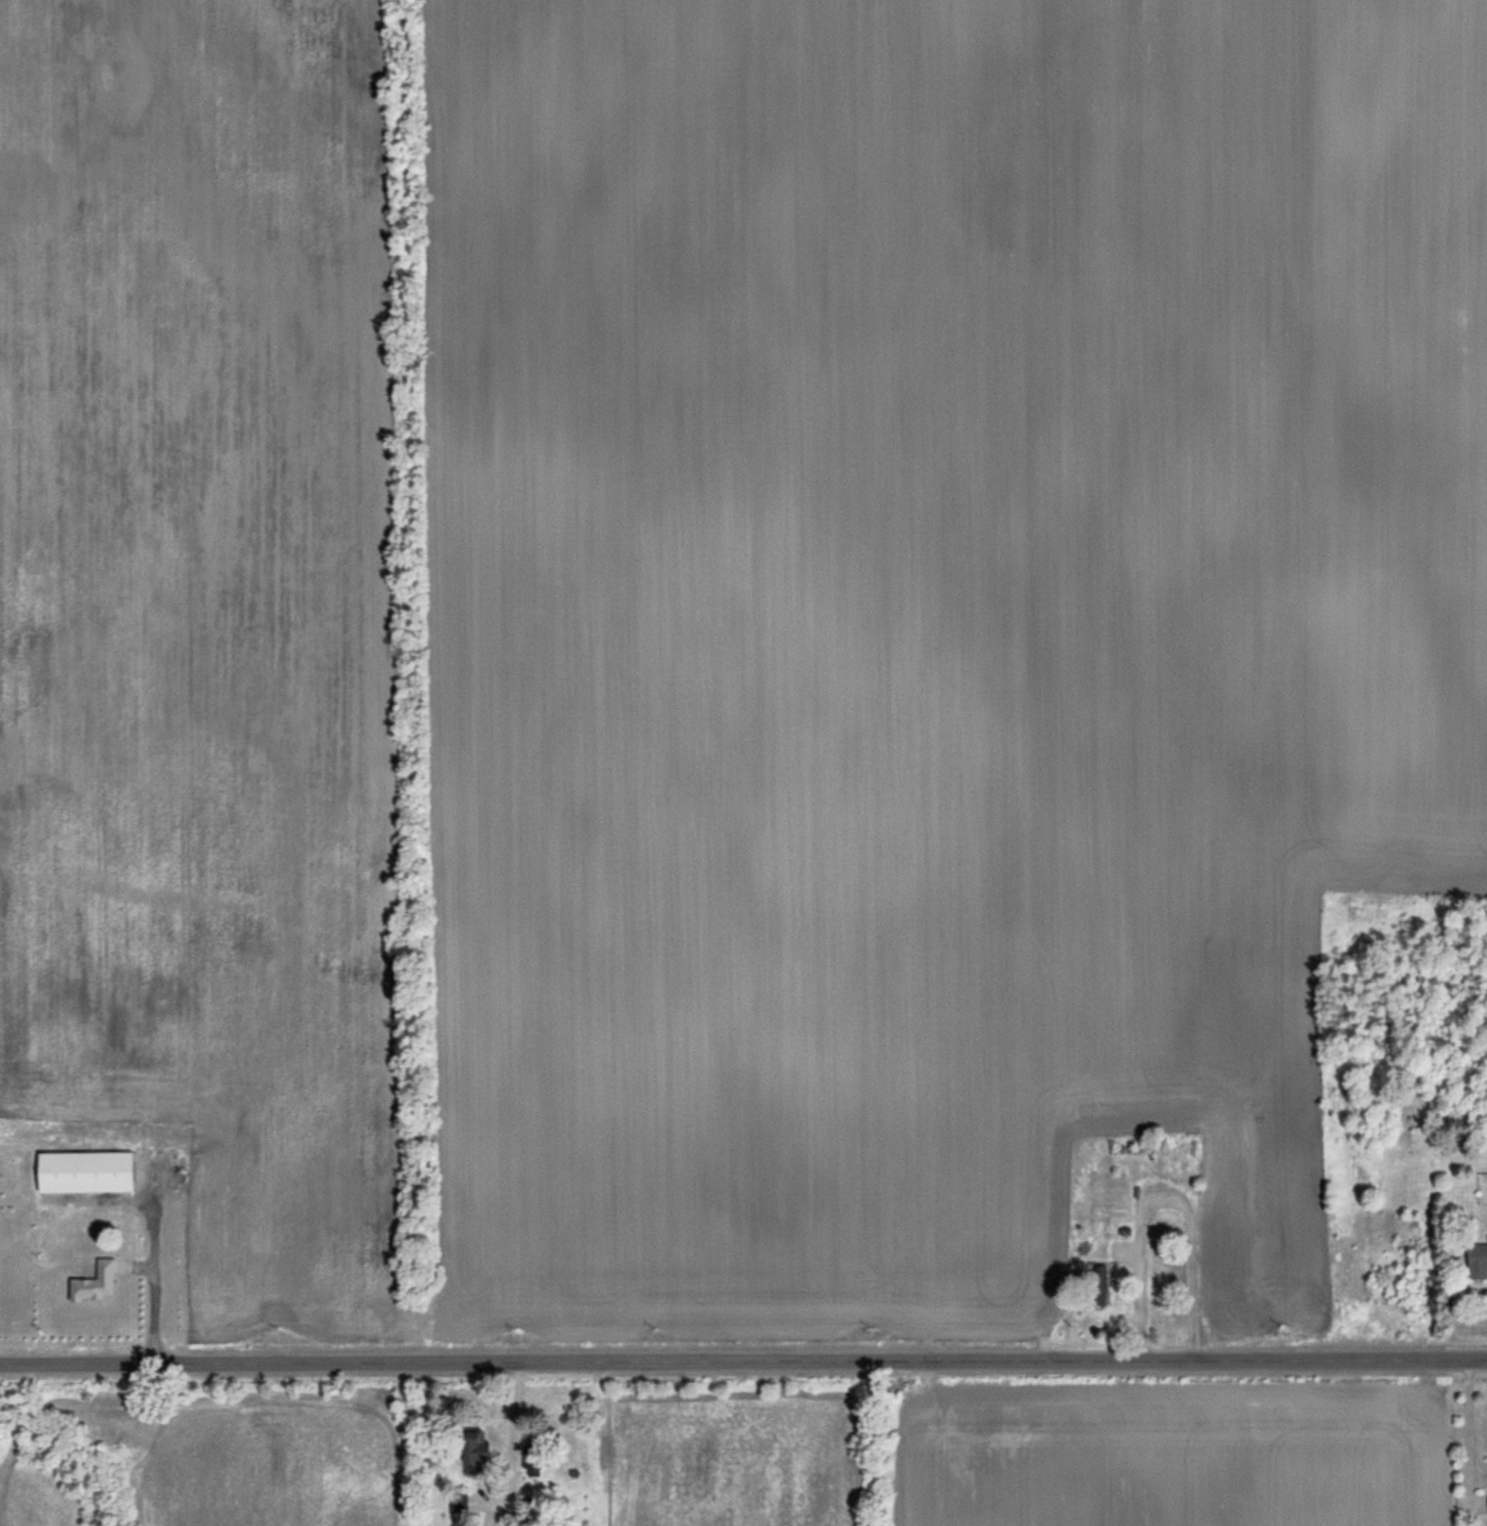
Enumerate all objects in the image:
building: (86, 1171)
building: (1477, 1261)
road: (155, 1270)
building: (1098, 1281)
building: (95, 1282)
road: (743, 1361)
building: (474, 1452)

